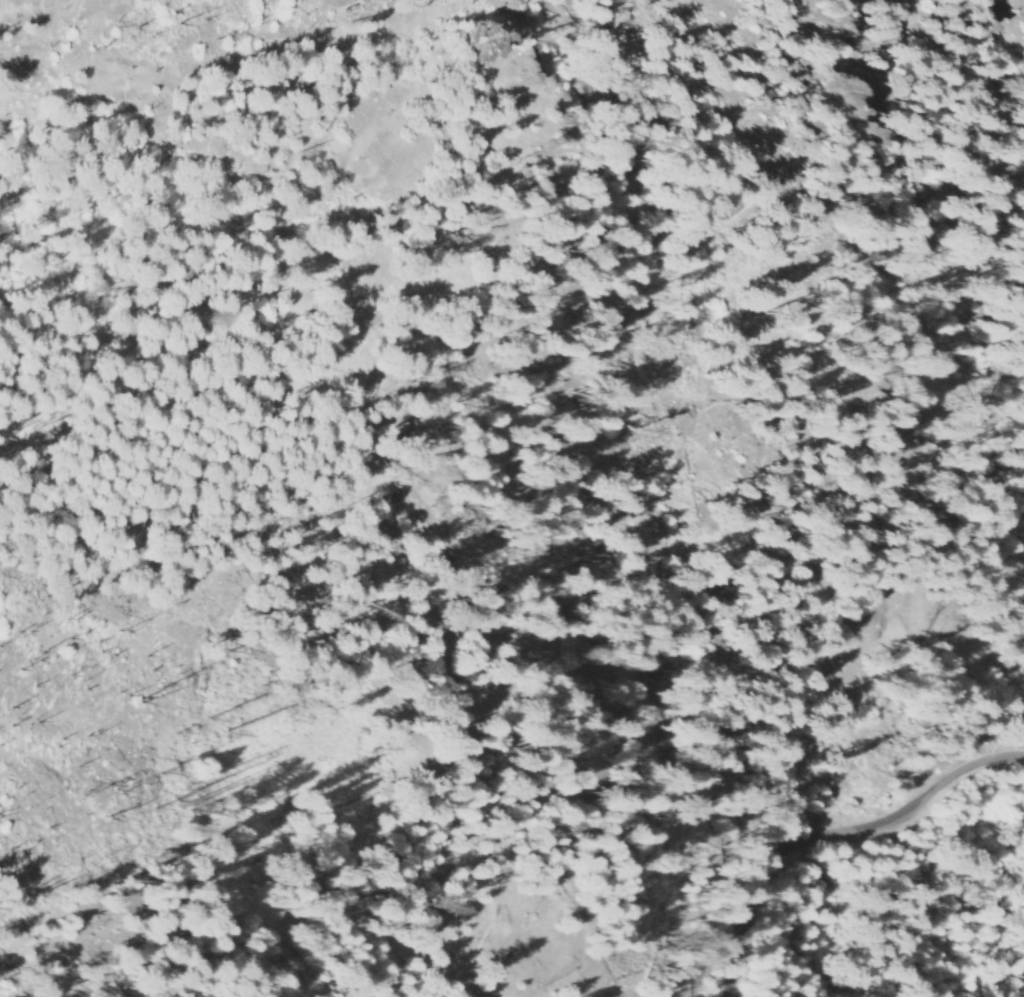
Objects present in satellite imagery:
road: (830, 845)

